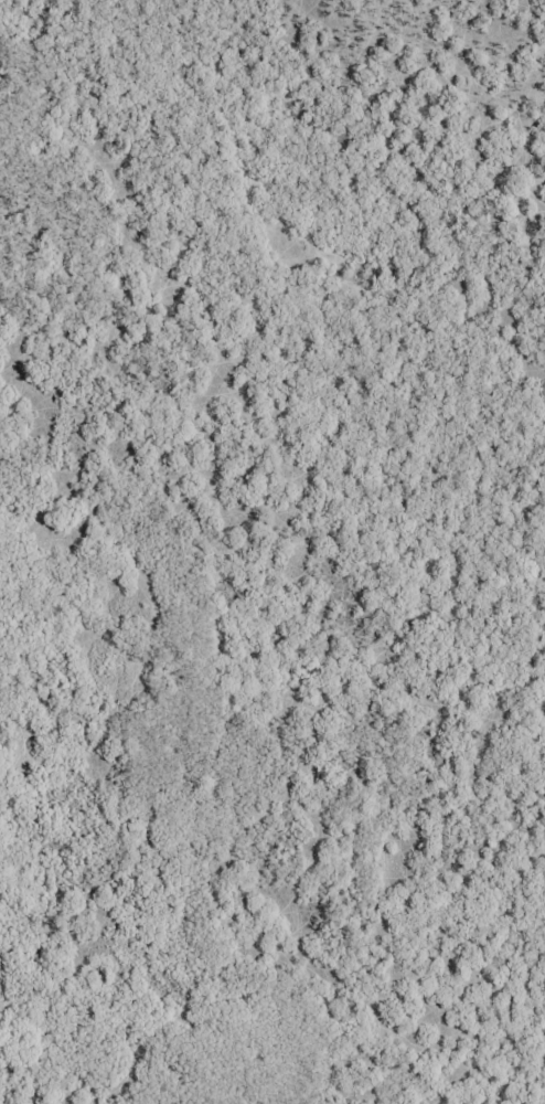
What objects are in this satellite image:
road: (188, 50)

